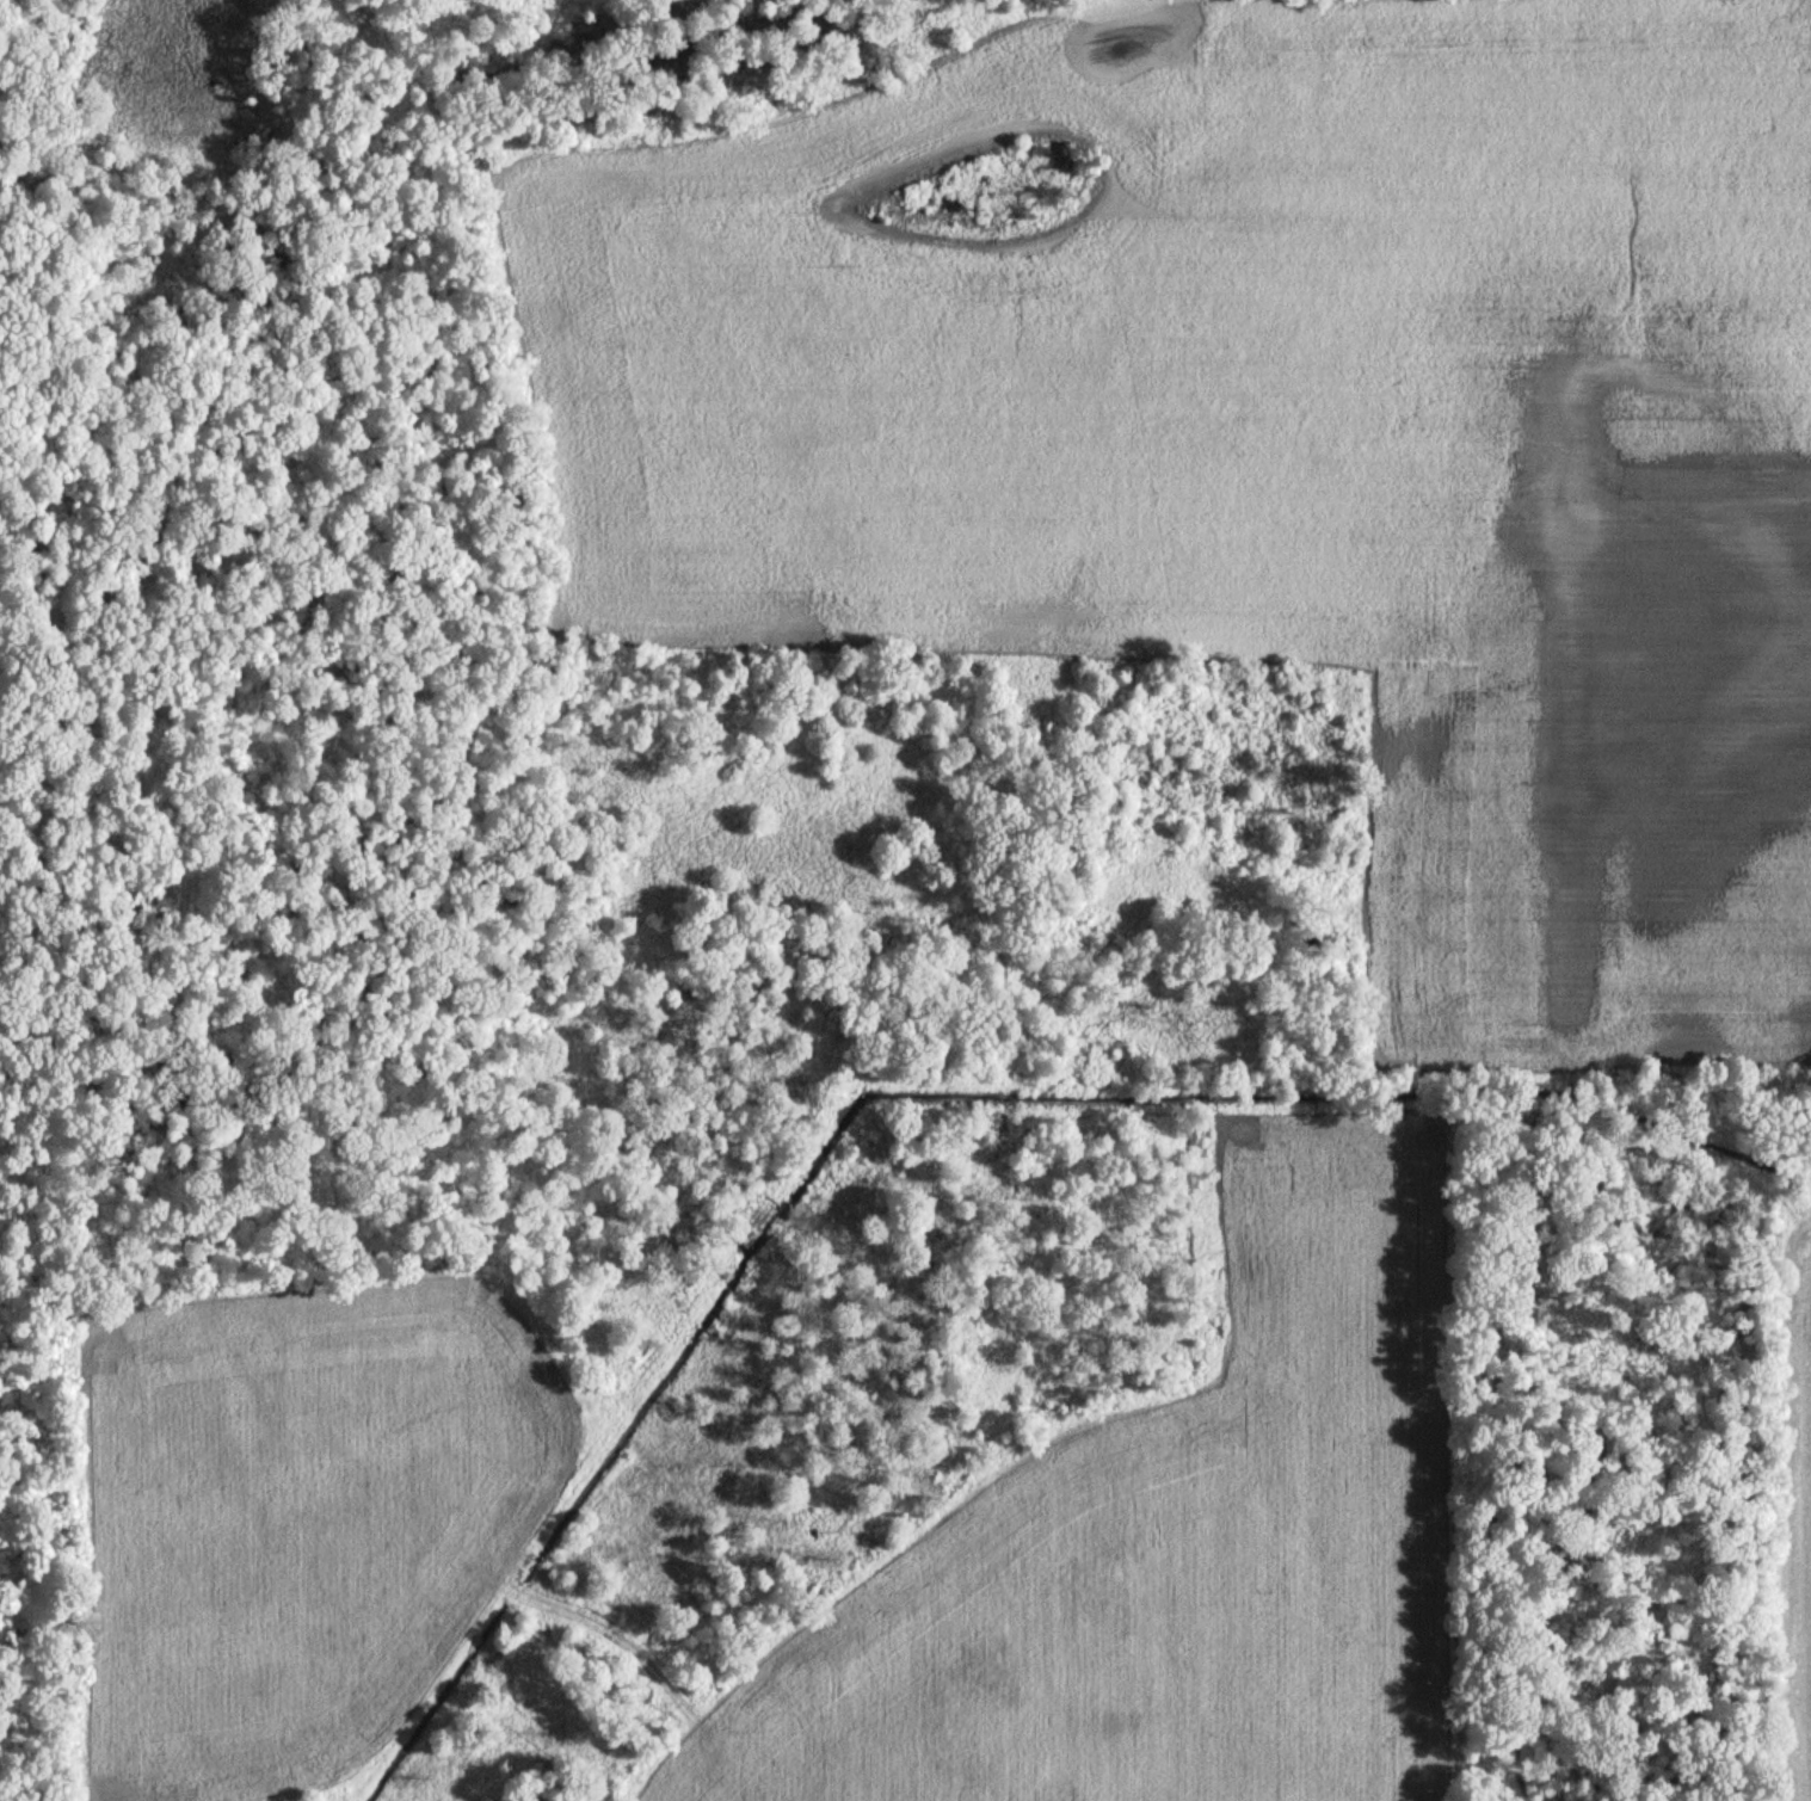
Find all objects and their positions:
crop: (1800, 1511)
crop: (297, 1516)
crop: (1182, 1549)
road: (513, 1586)
crop: (680, 1776)

